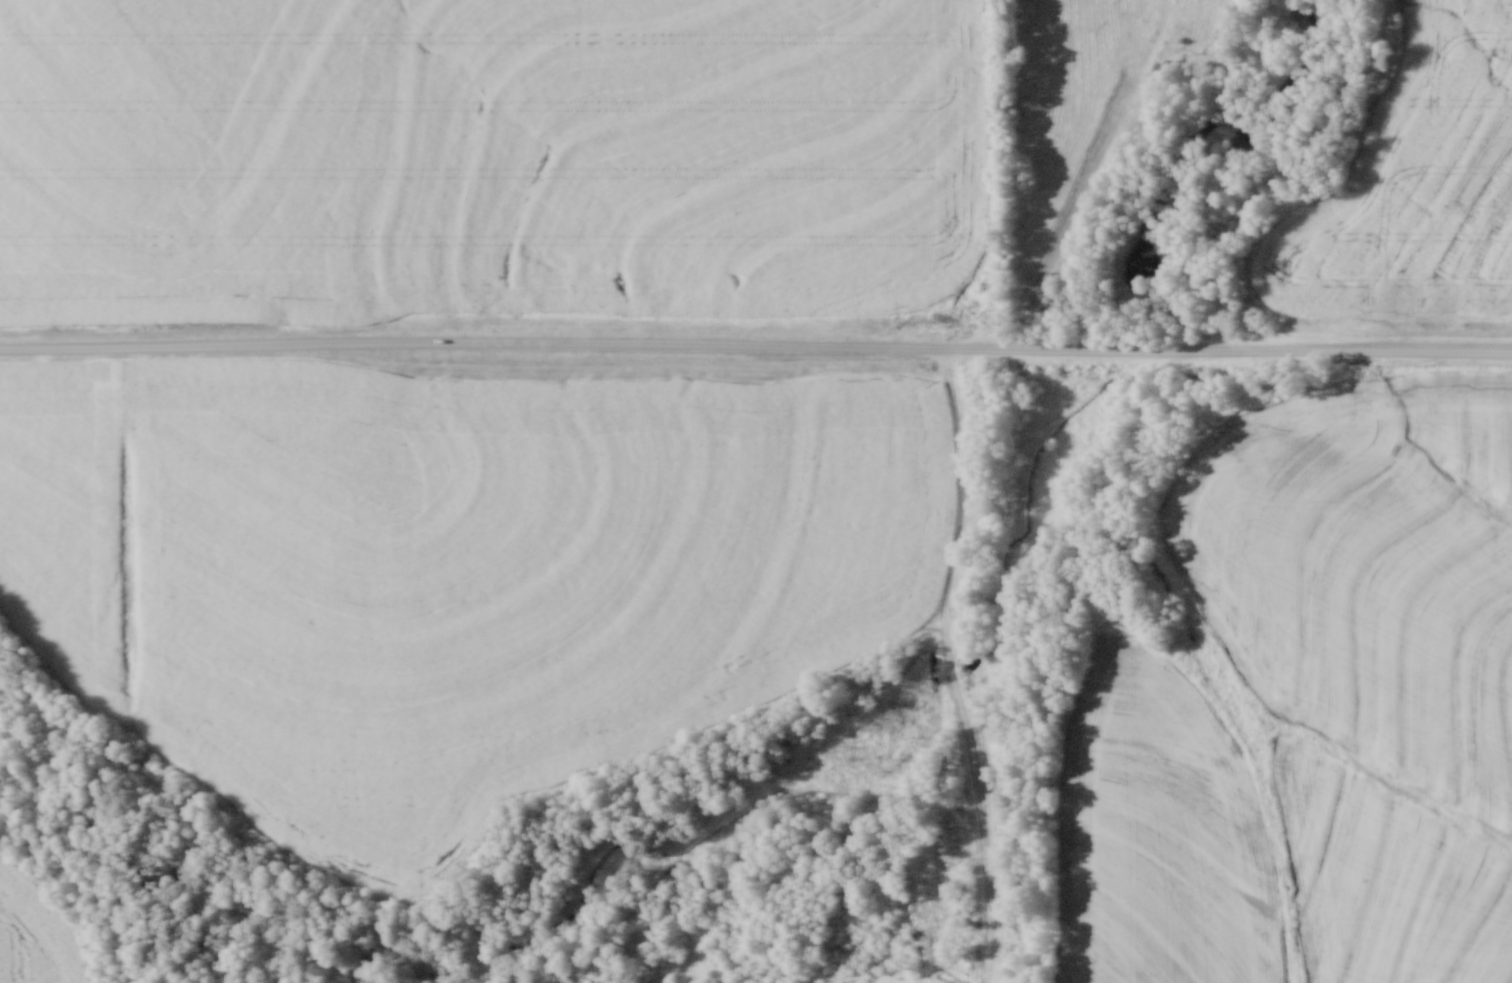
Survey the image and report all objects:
road: (755, 349)

